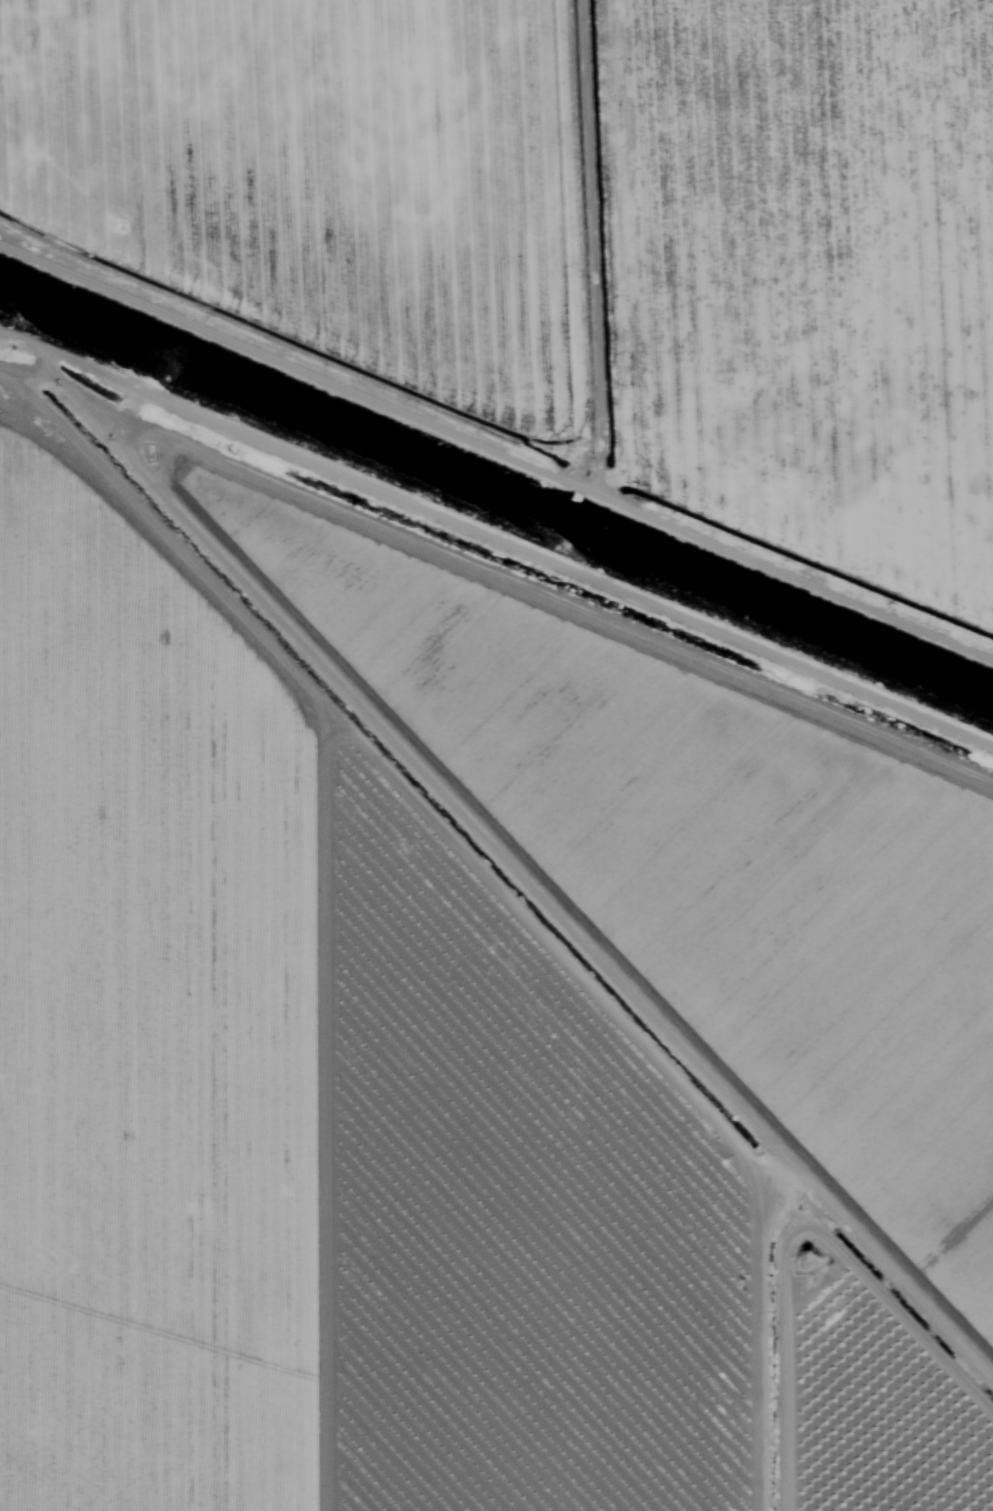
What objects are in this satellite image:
crop: (575, 243)
road: (496, 377)
road: (448, 757)
crop: (688, 858)
crop: (304, 1079)
road: (835, 1203)
crop: (864, 1376)
road: (767, 1449)

